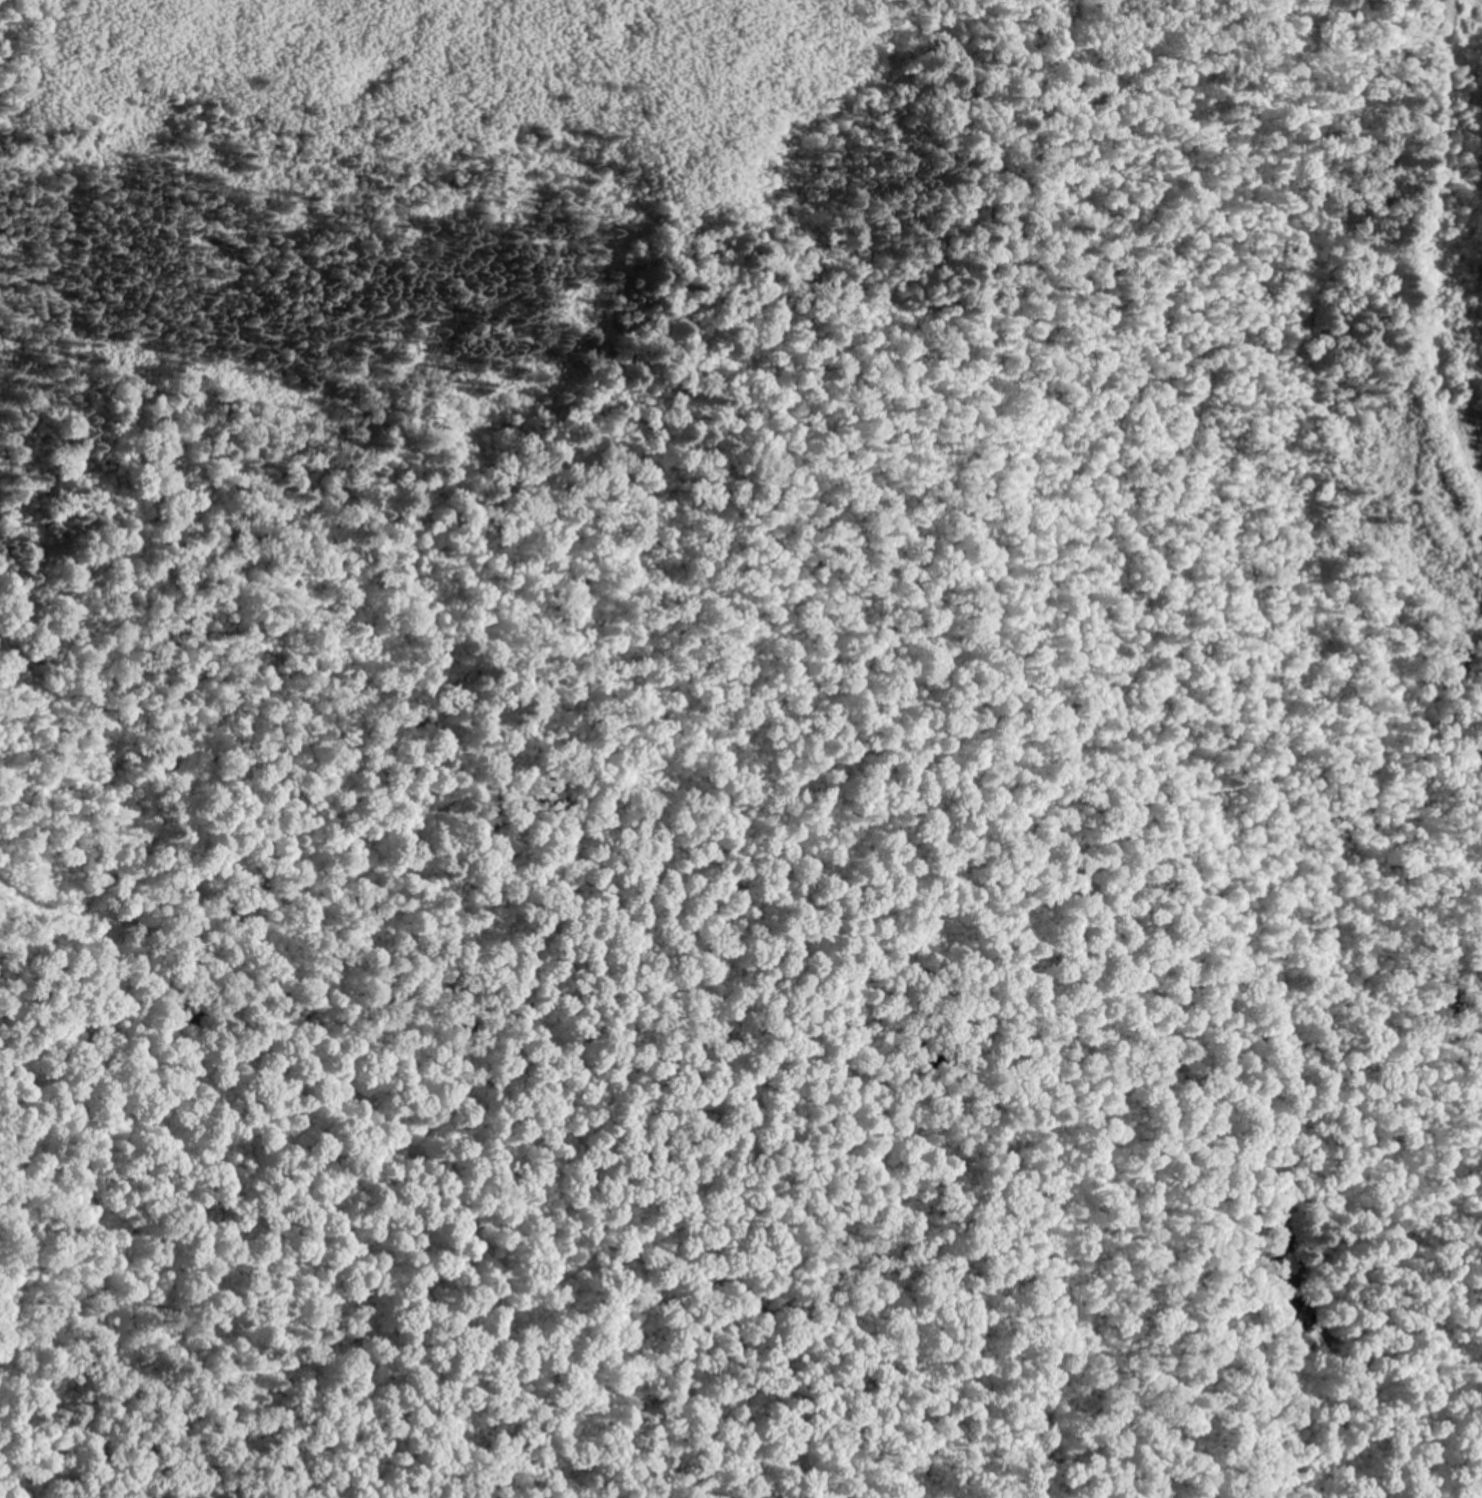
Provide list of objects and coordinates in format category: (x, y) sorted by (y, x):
road: (1451, 233)

